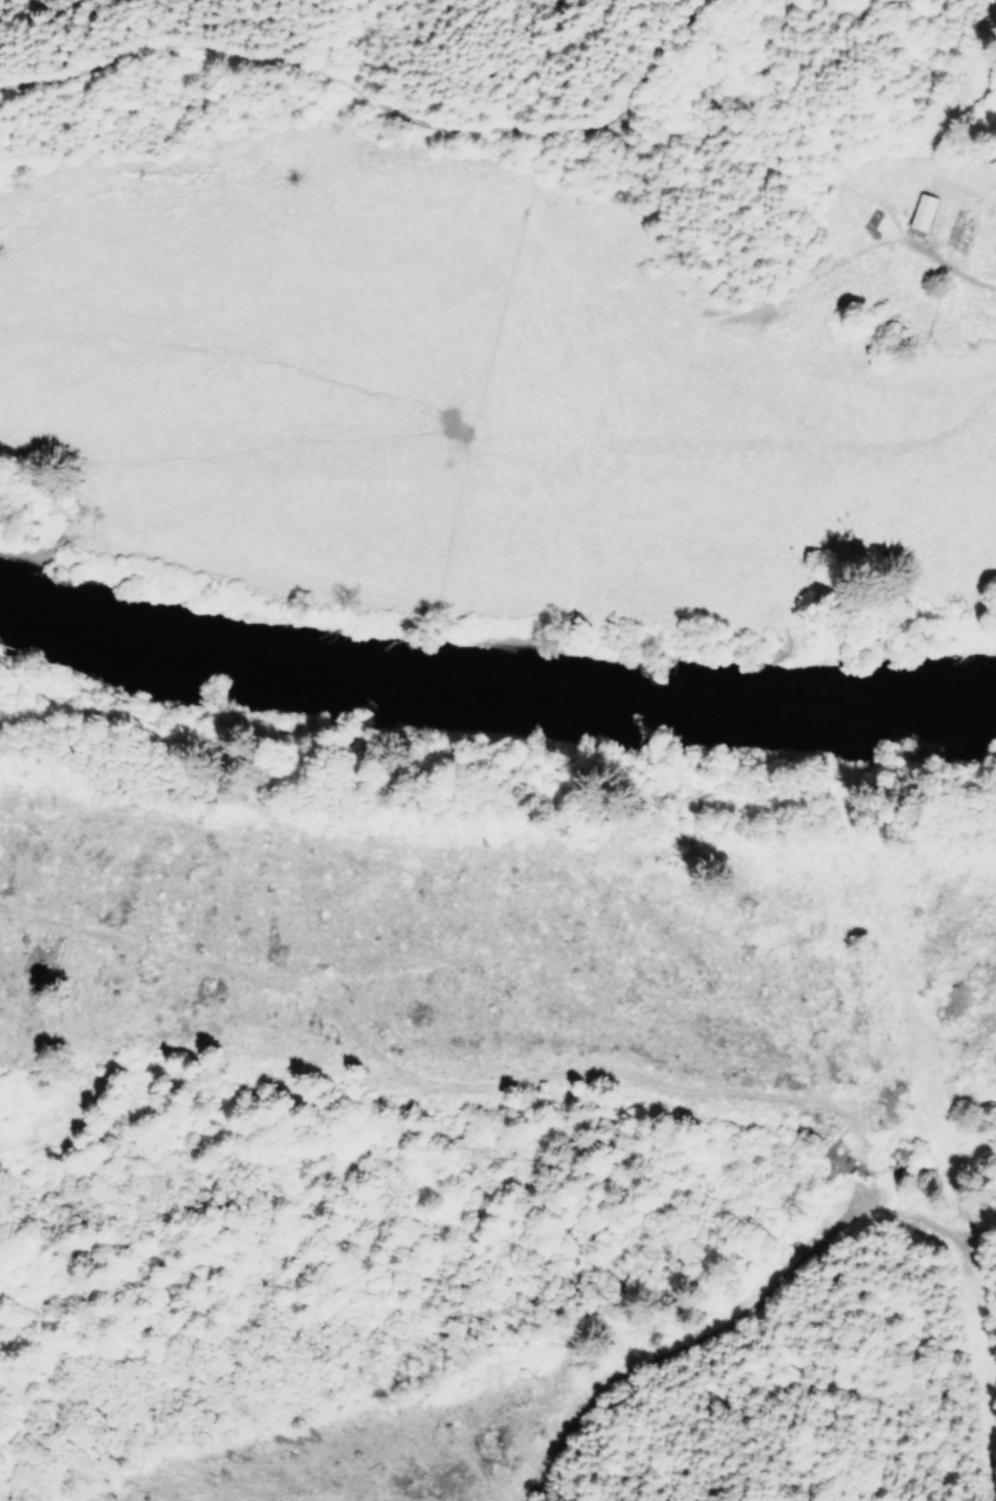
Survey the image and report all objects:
road: (409, 51)
road: (966, 64)
building: (922, 211)
crop: (467, 393)
river: (494, 686)

